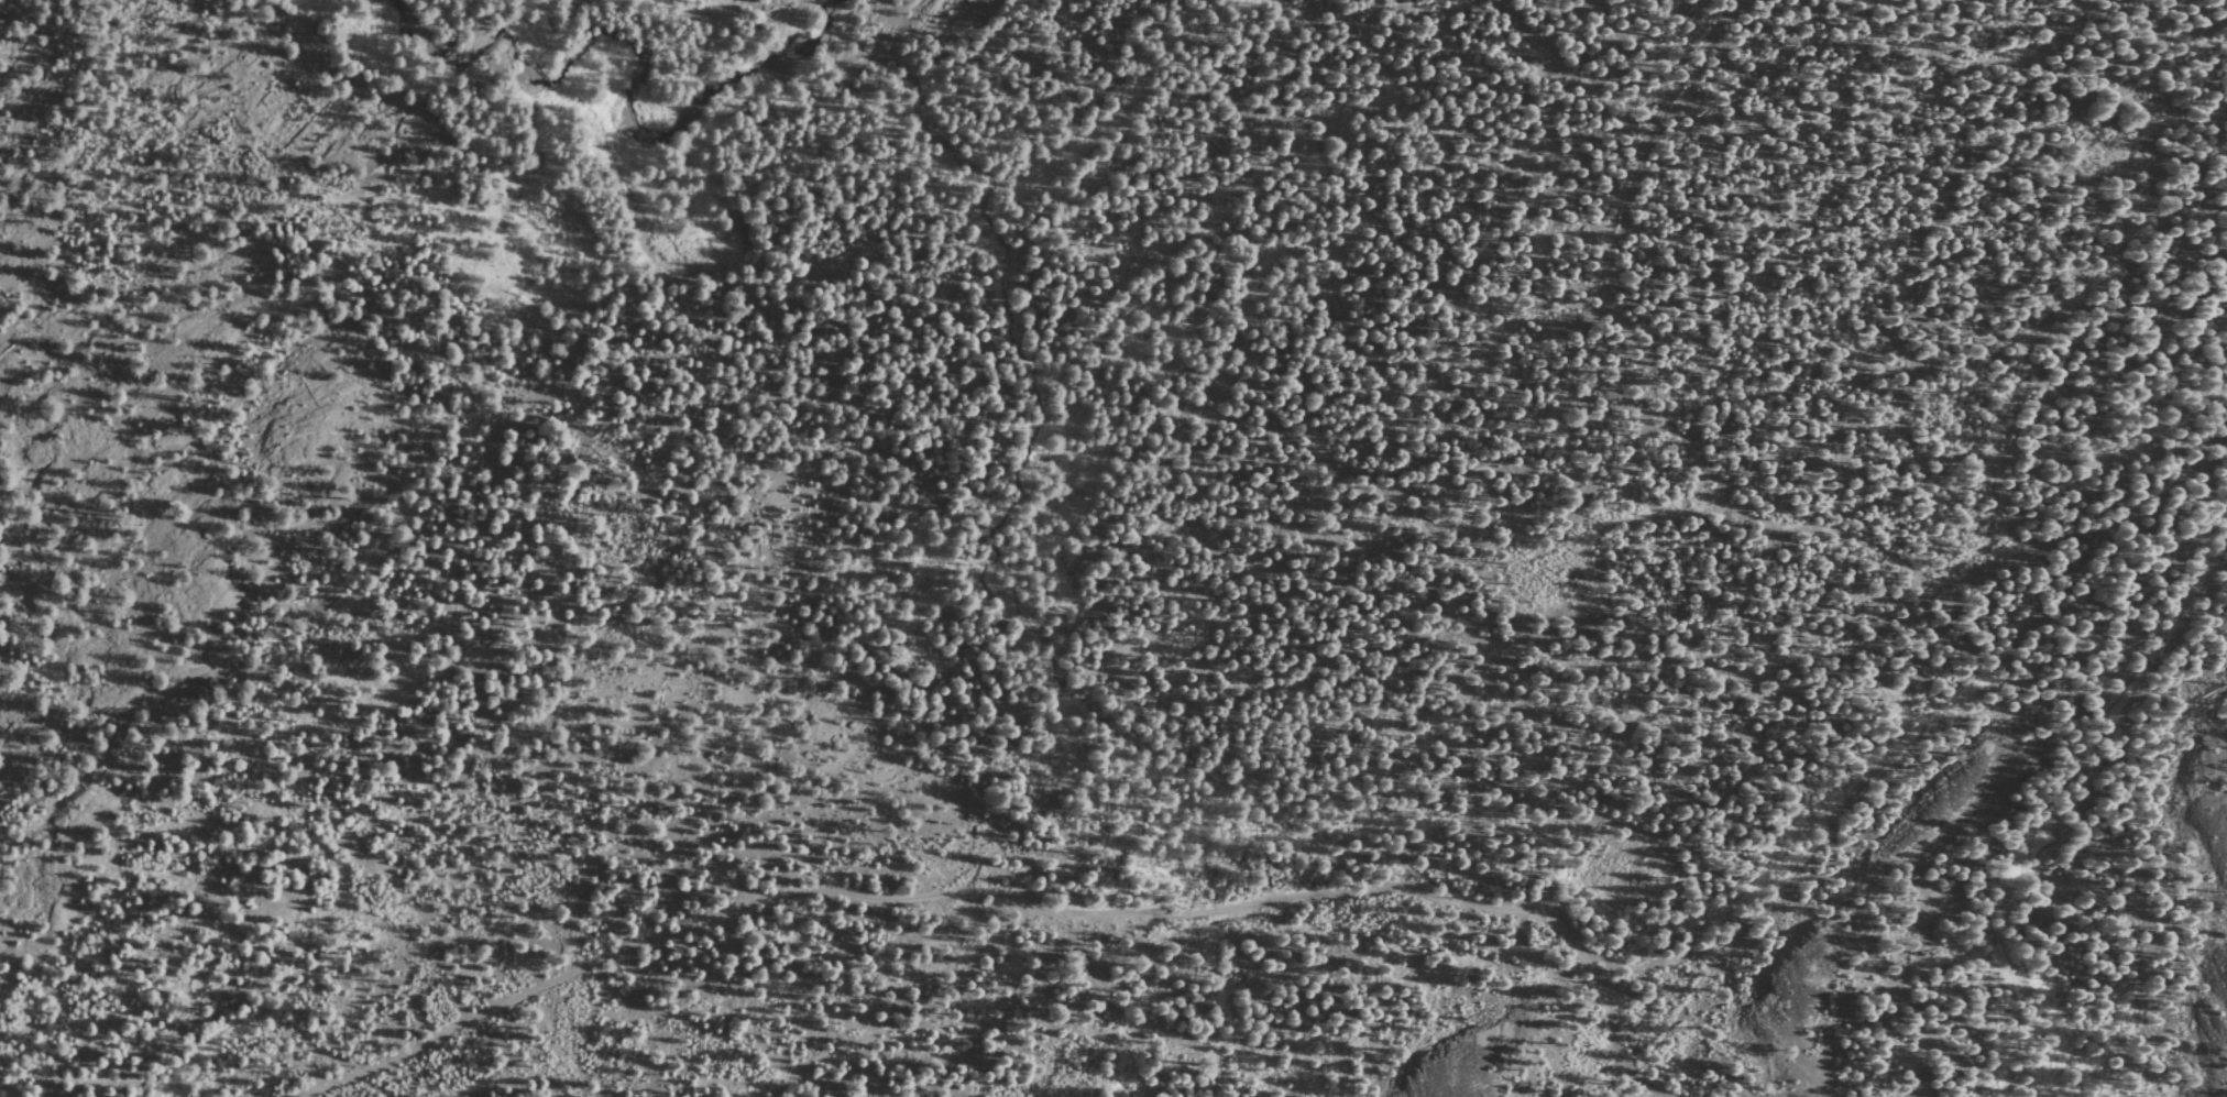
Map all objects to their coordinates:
road: (618, 902)

